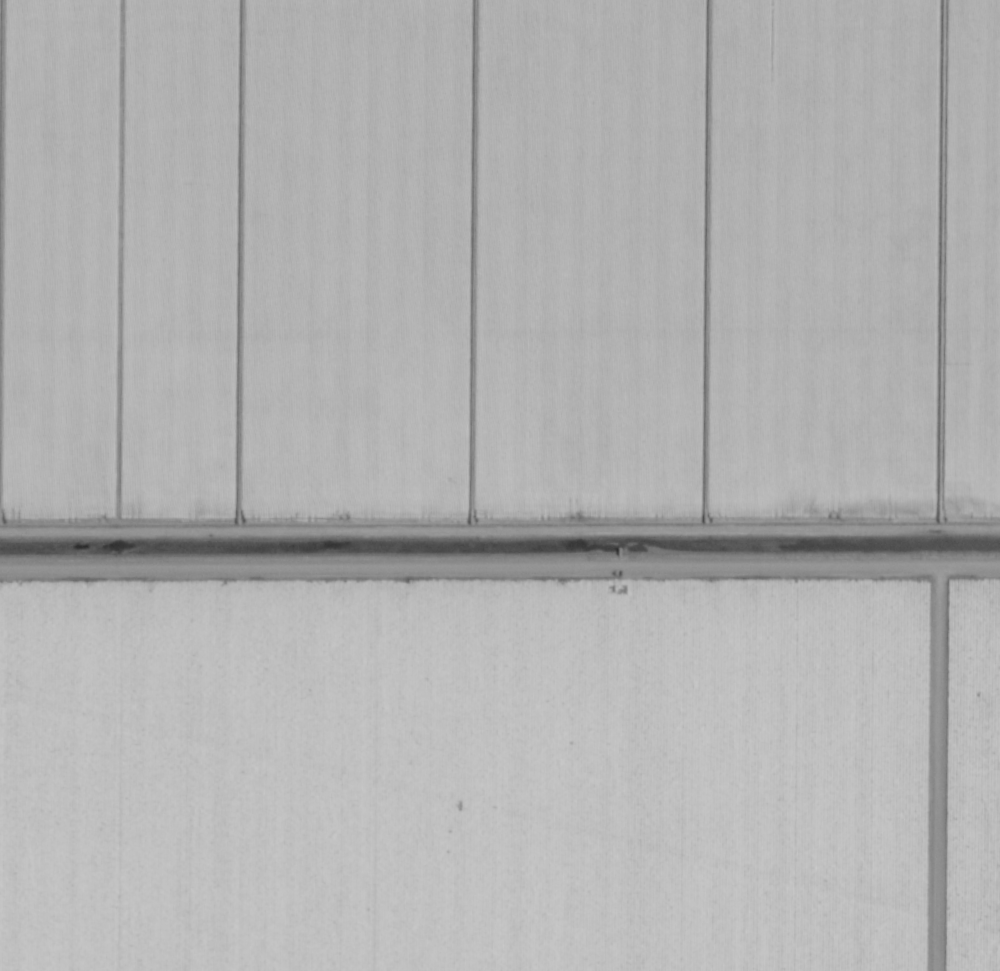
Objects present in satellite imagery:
road: (500, 565)

